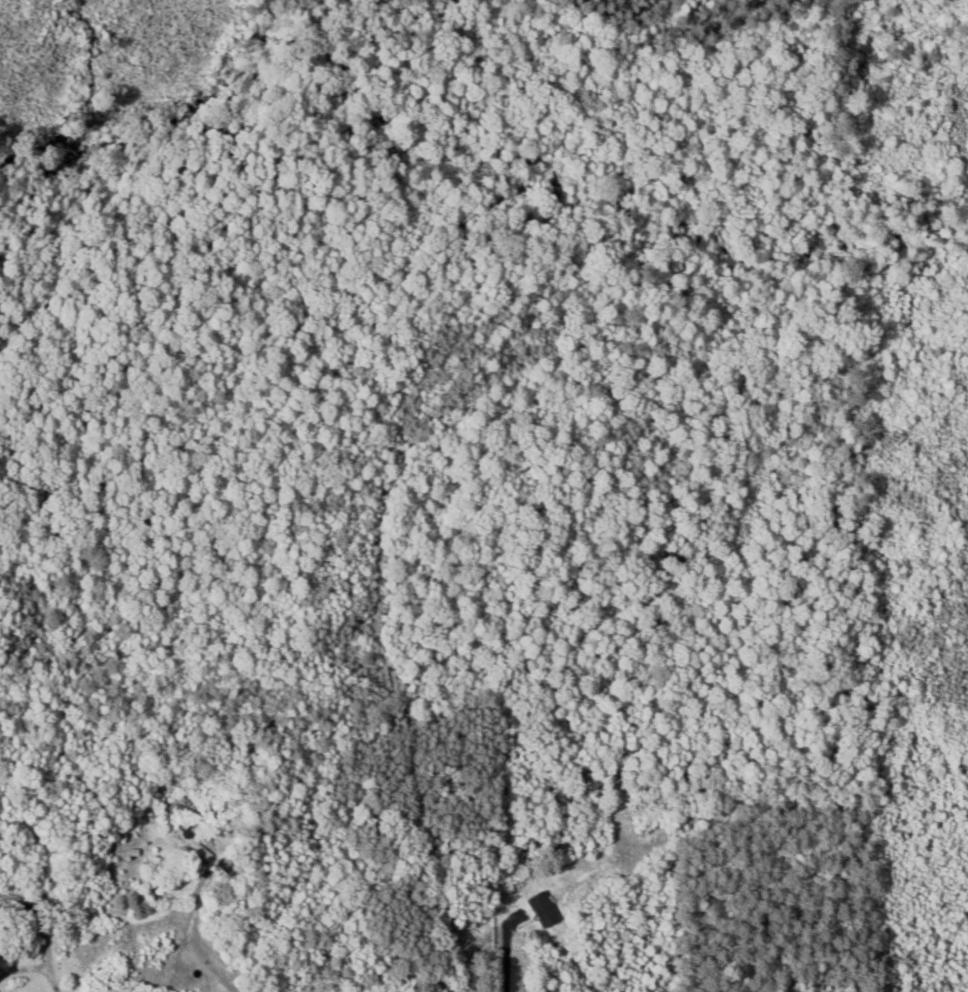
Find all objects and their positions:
building: (196, 847)
building: (228, 867)
building: (547, 910)
building: (2, 917)
road: (16, 957)

